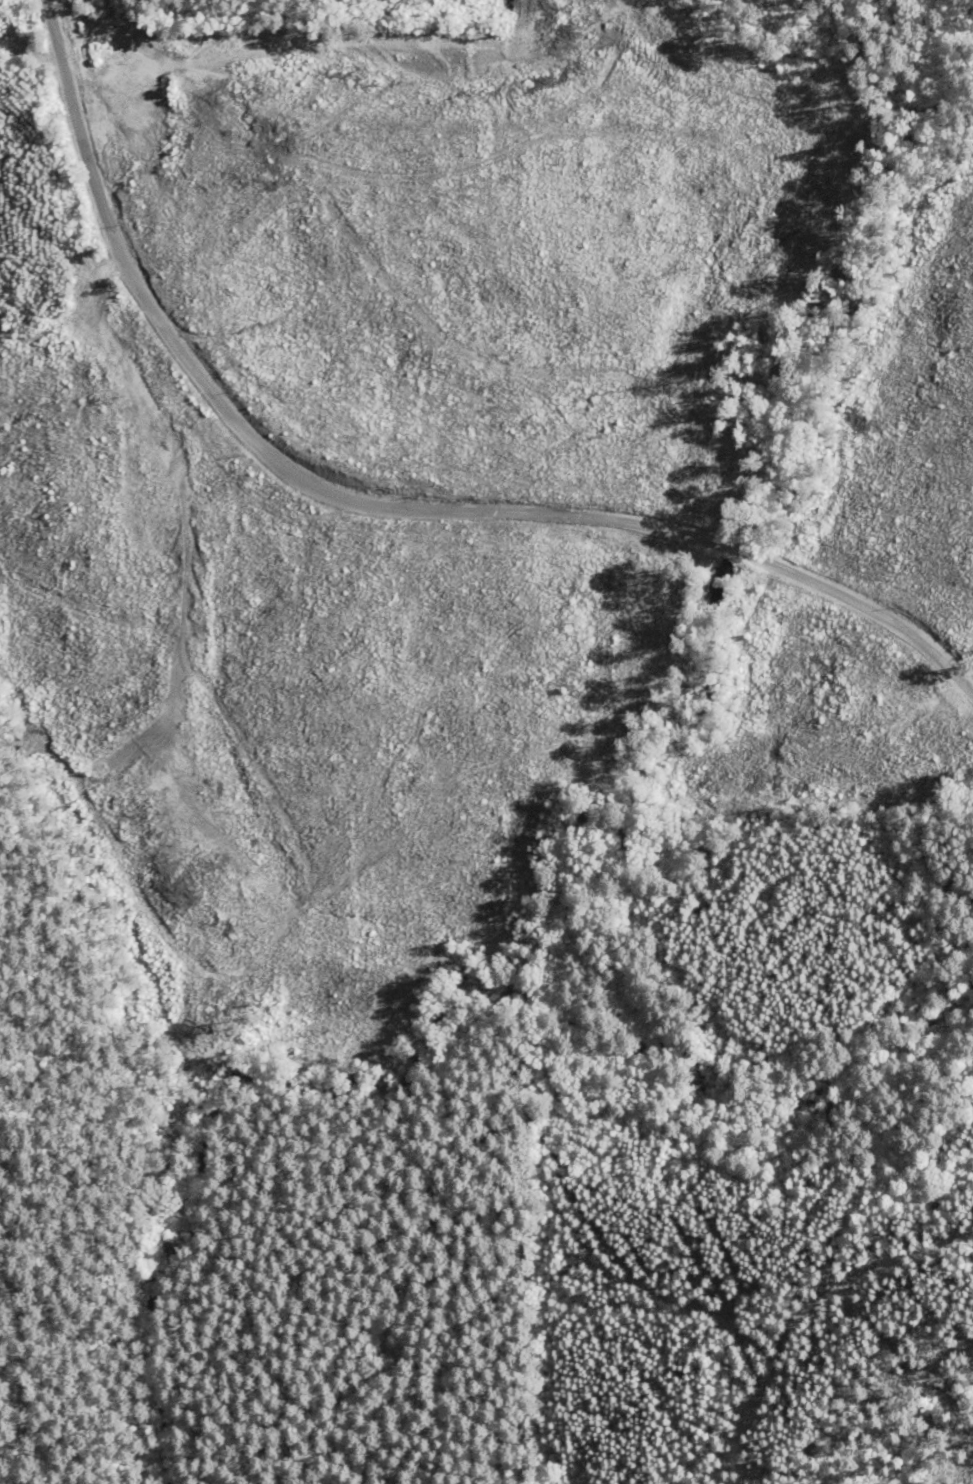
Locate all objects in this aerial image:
road: (385, 519)

